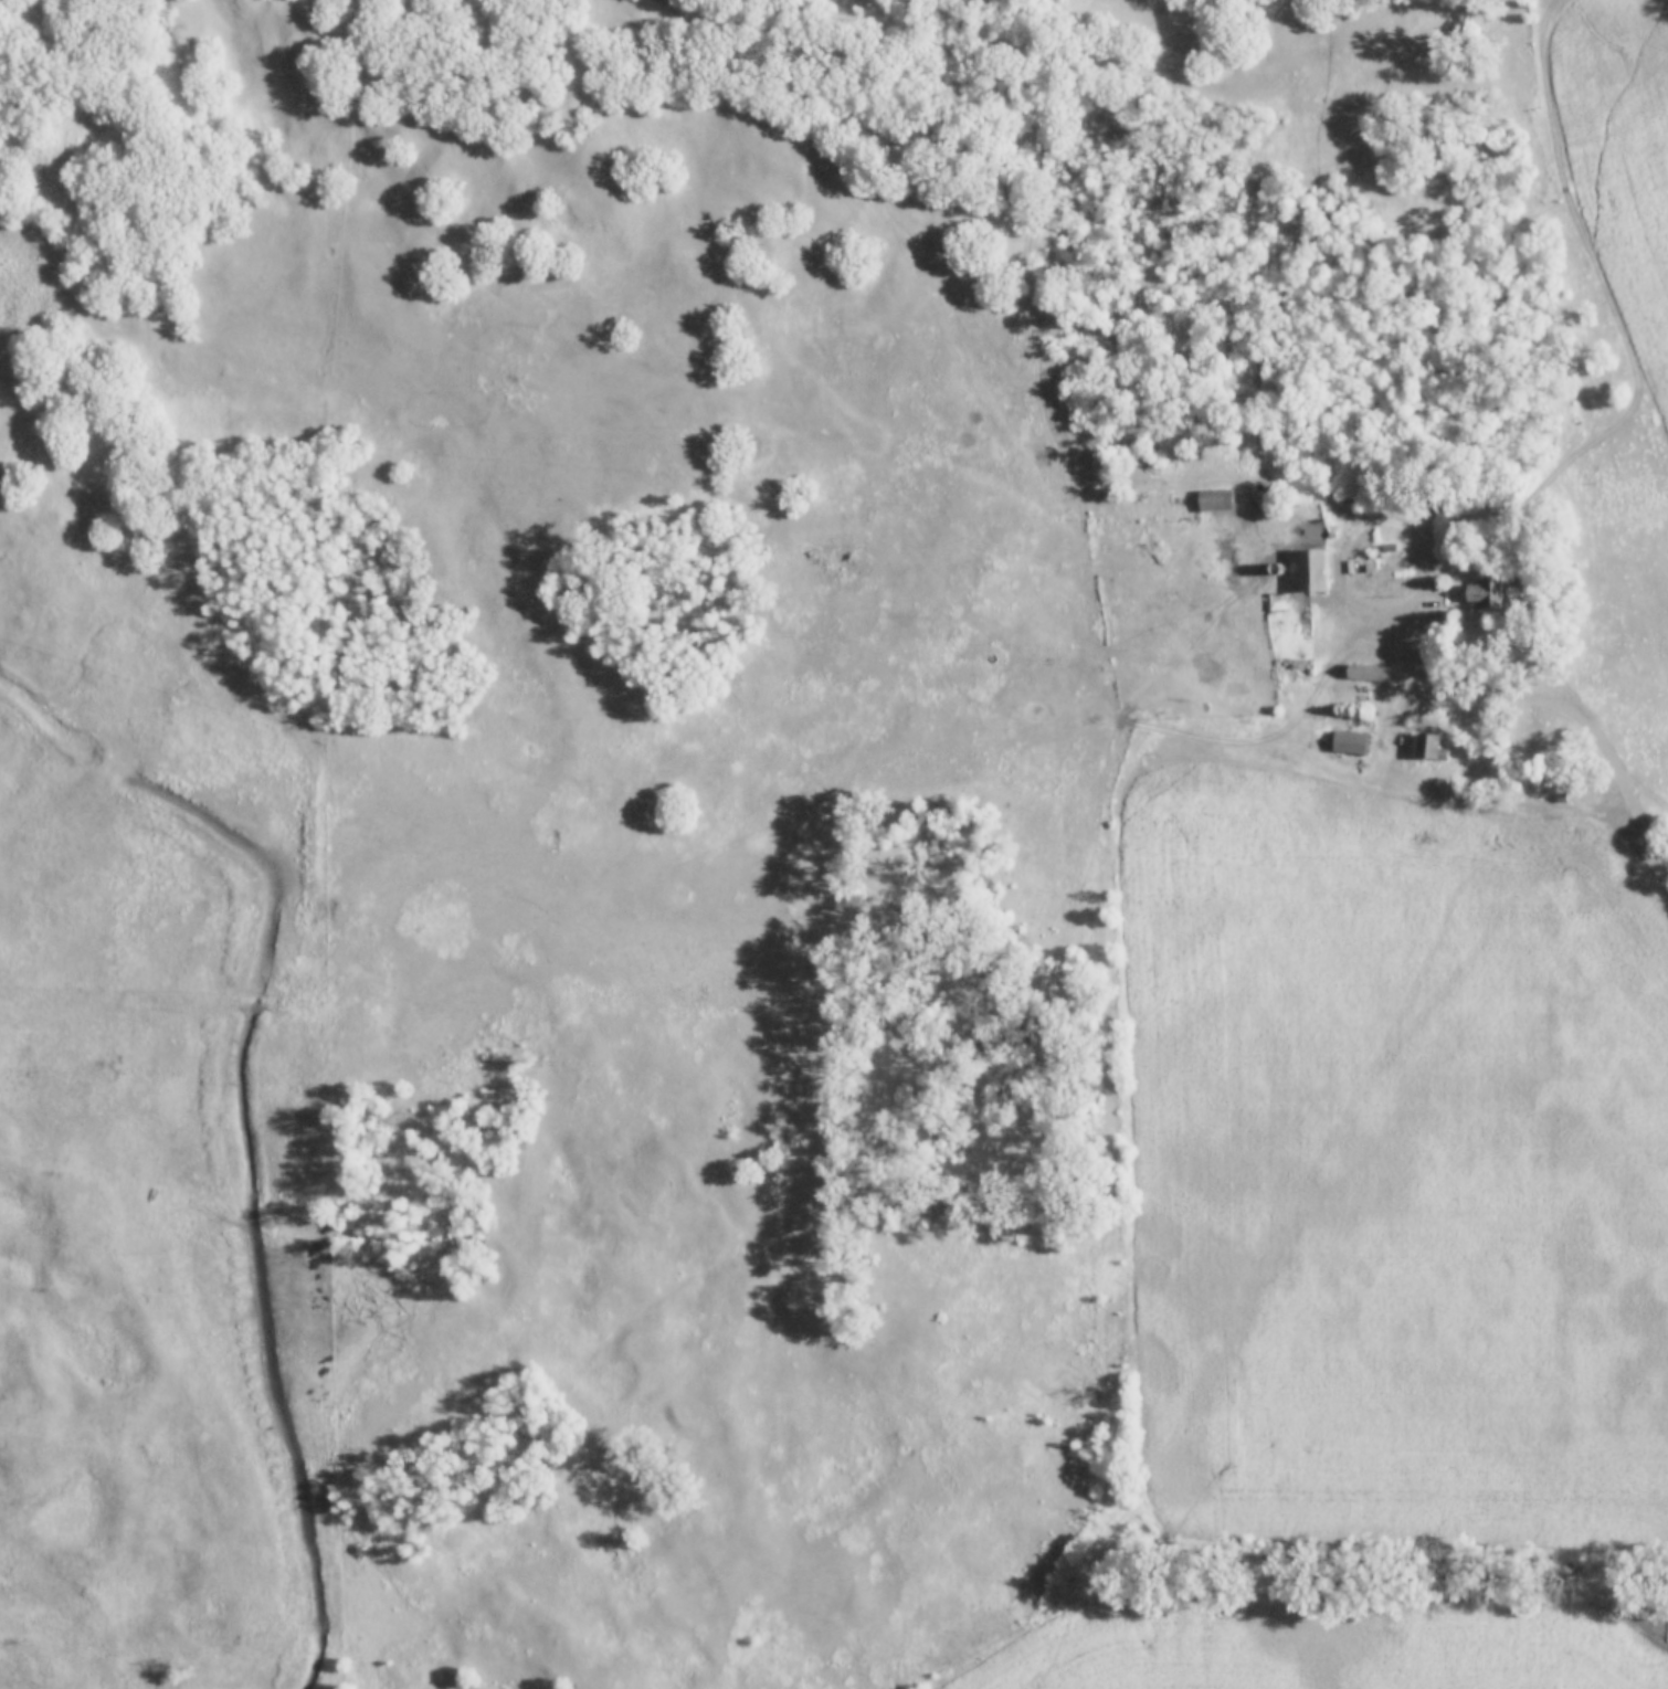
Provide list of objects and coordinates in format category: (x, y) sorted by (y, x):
road: (1551, 19)
building: (1213, 500)
building: (1306, 571)
building: (1481, 597)
road: (1603, 740)
building: (1348, 742)
building: (1428, 748)

